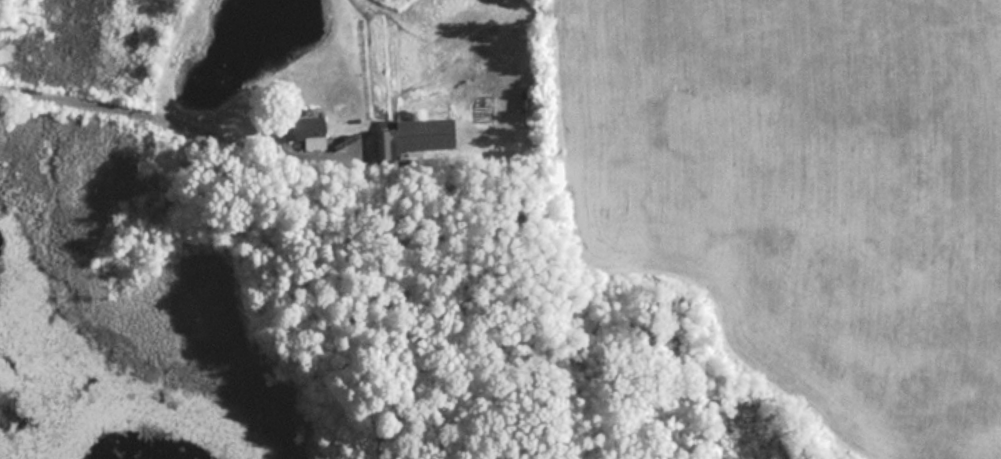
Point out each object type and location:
road: (130, 118)

